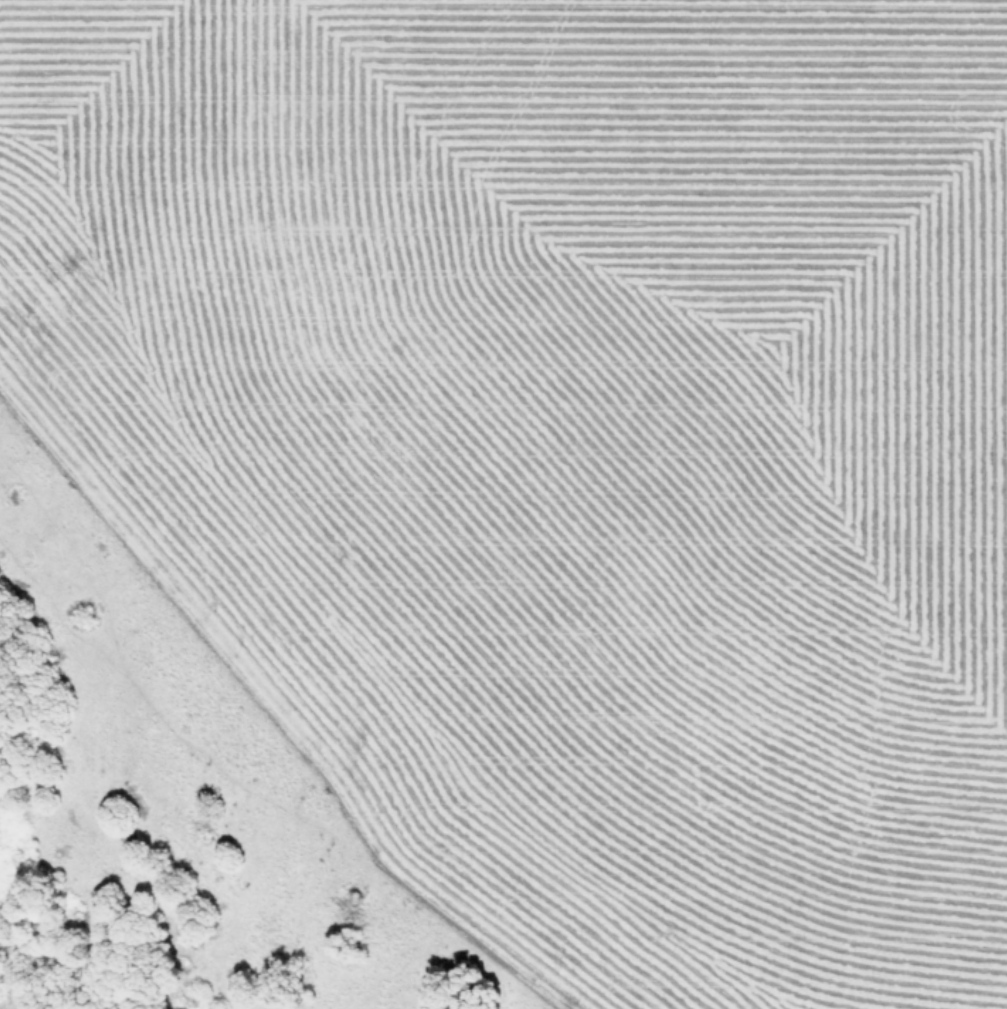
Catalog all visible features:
crop: (566, 441)

